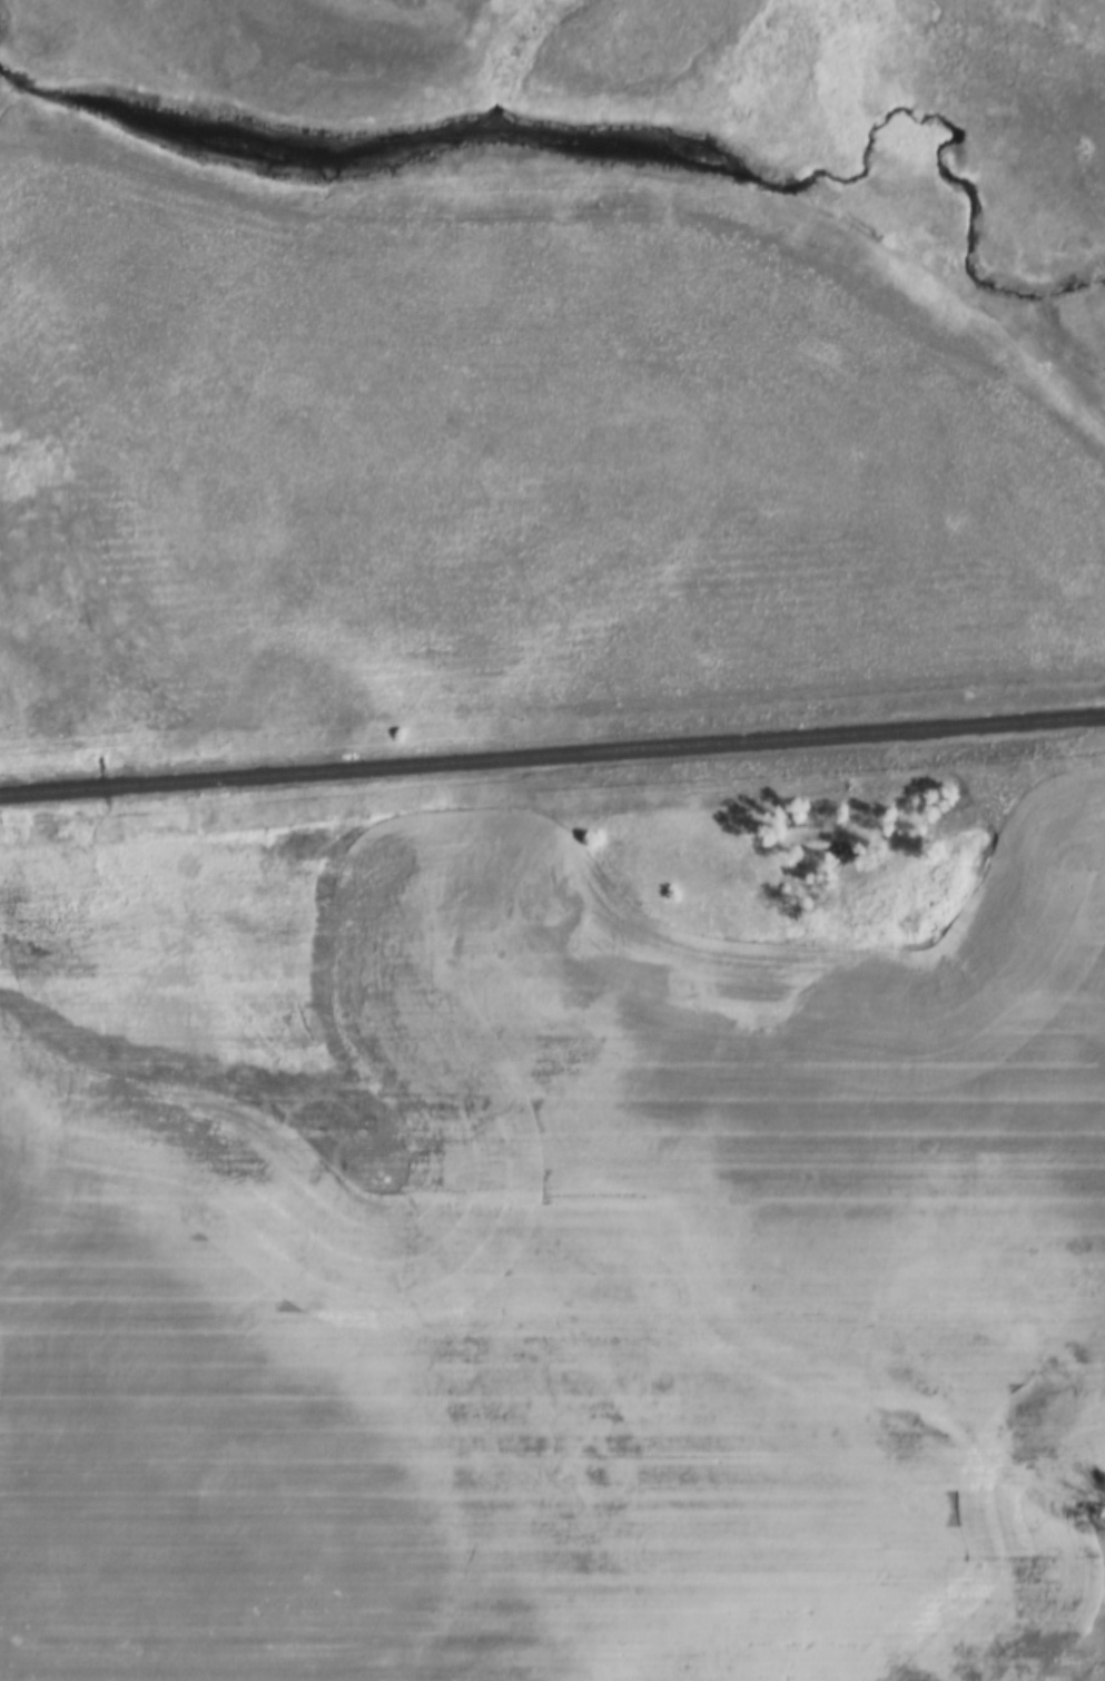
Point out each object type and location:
railway: (552, 751)

